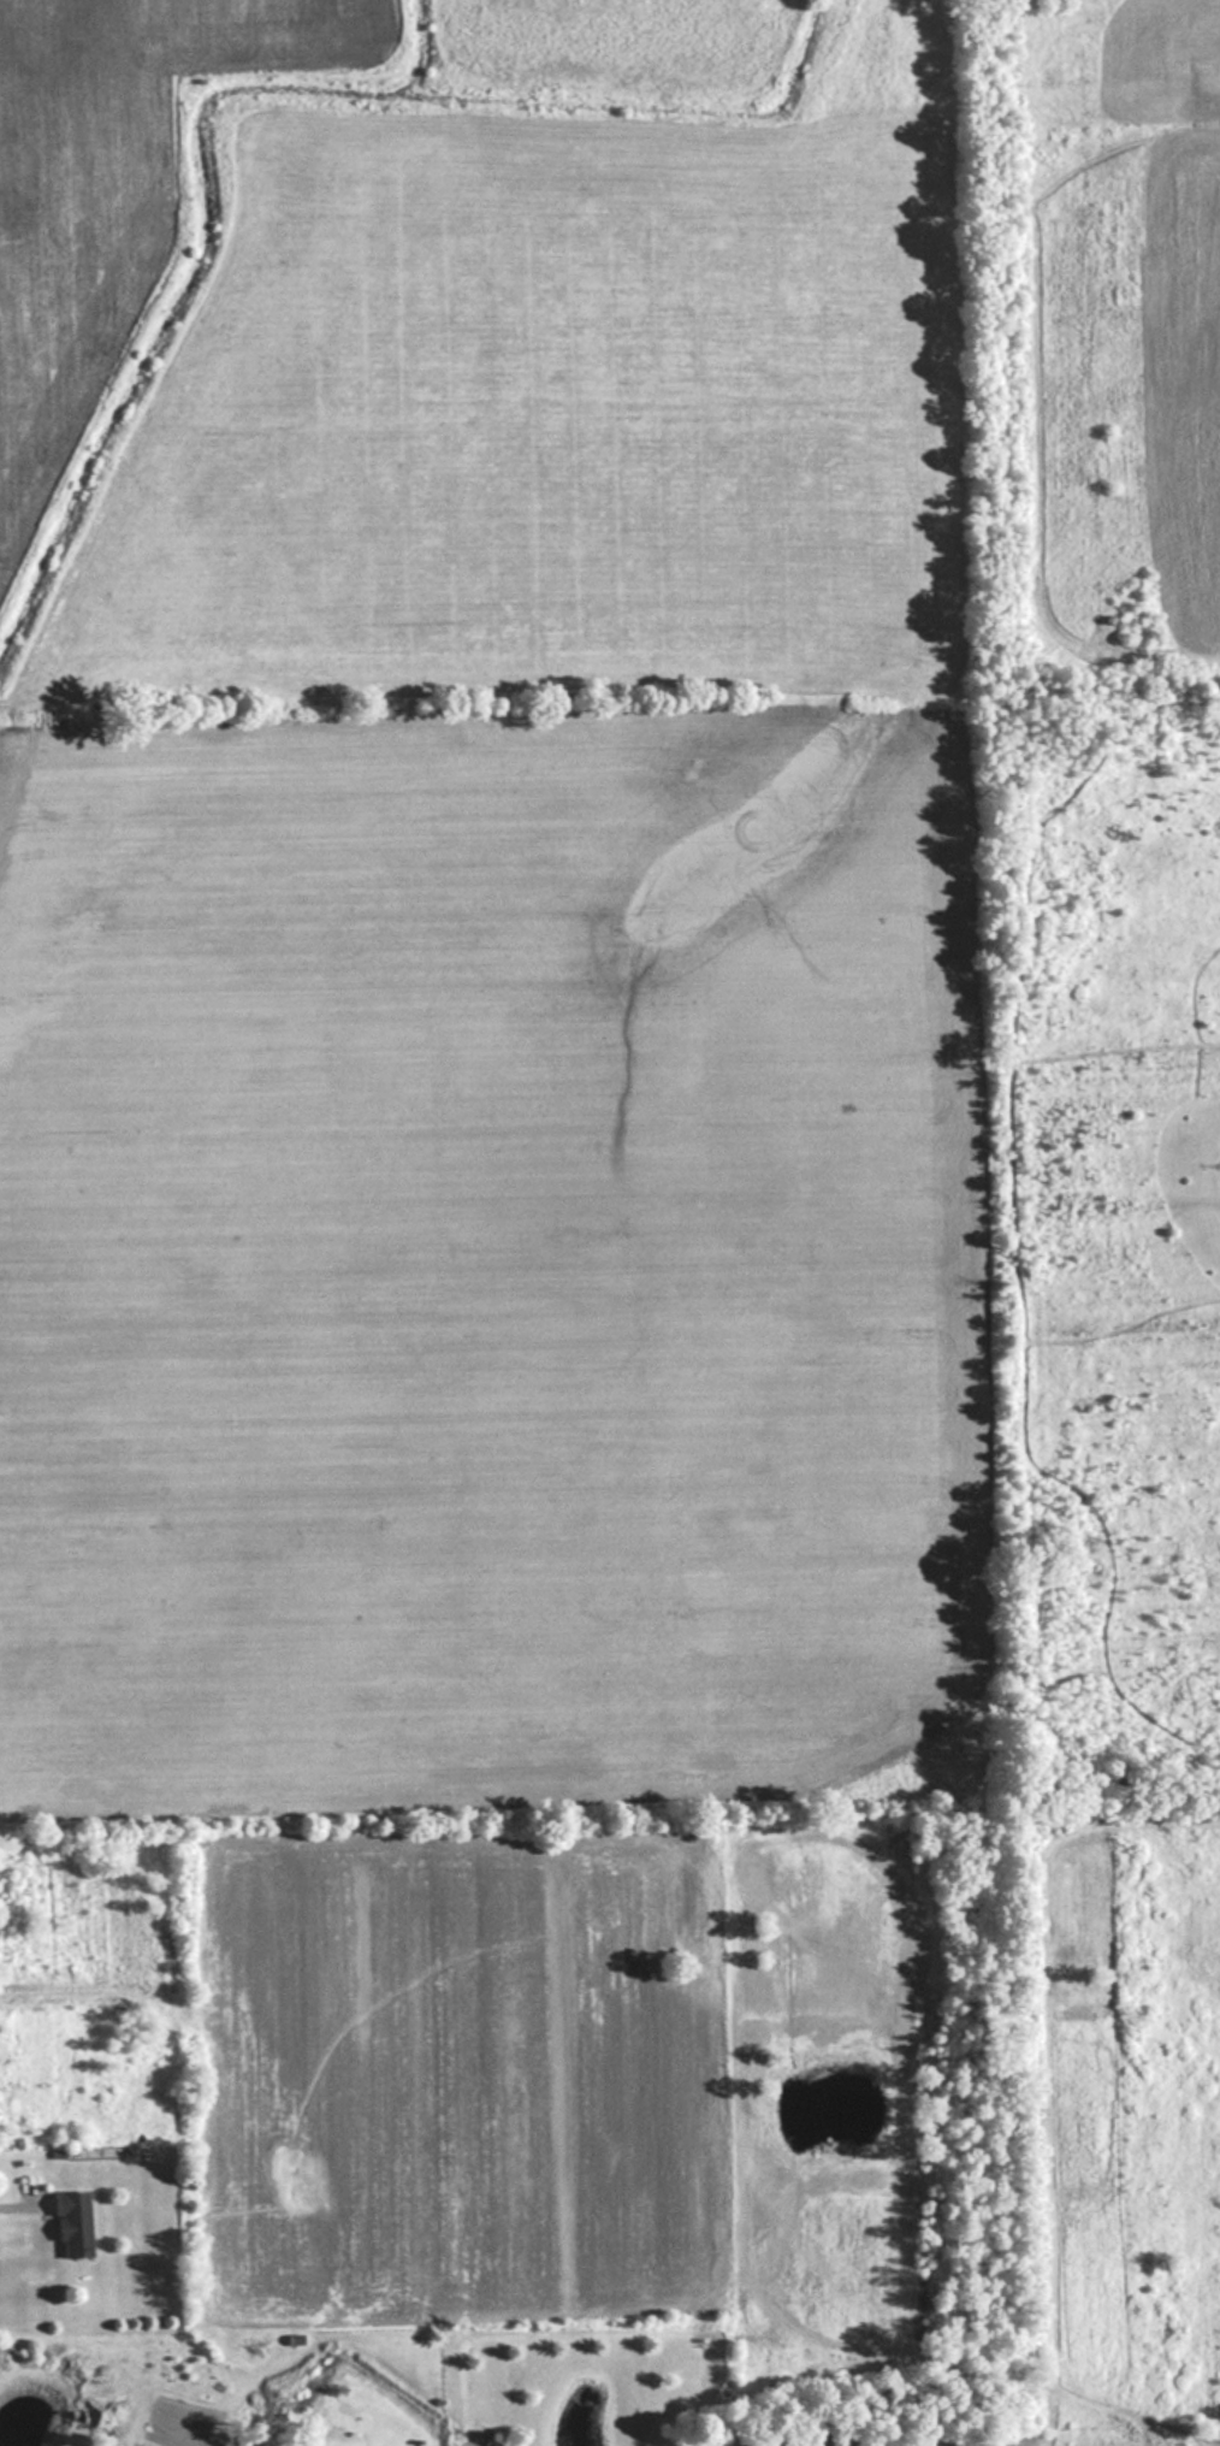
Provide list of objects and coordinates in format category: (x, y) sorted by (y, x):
building: (72, 2223)

